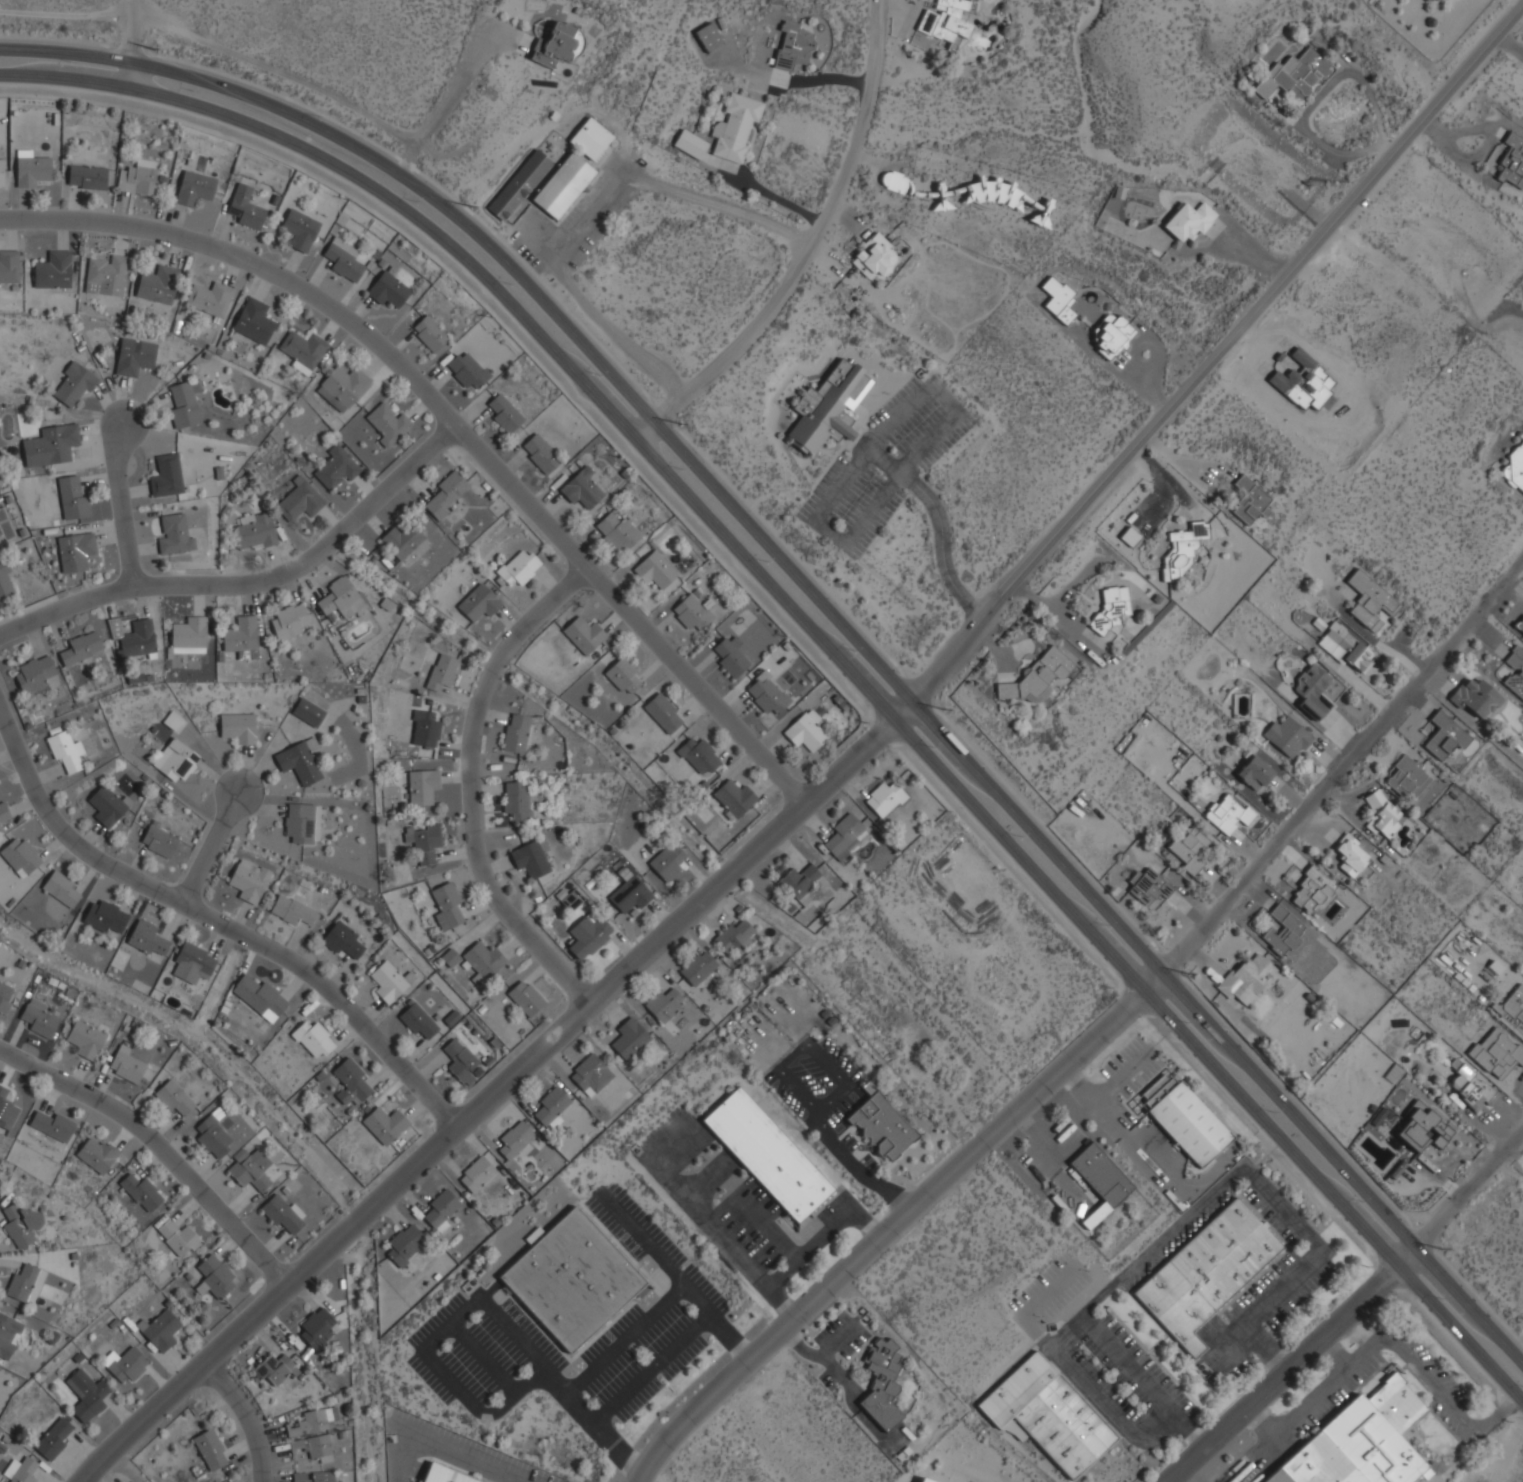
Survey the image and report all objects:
building: (1427, 1)
building: (944, 20)
building: (708, 38)
road: (132, 44)
building: (557, 45)
building: (792, 46)
power tower: (151, 48)
building: (1293, 75)
road: (338, 98)
building: (735, 127)
building: (590, 139)
building: (690, 144)
road: (409, 159)
building: (1512, 162)
building: (31, 169)
building: (1, 173)
building: (87, 177)
building: (137, 178)
building: (895, 182)
building: (519, 185)
building: (563, 186)
building: (194, 188)
power tower: (470, 206)
building: (245, 208)
road: (591, 221)
building: (1188, 221)
building: (300, 230)
road: (807, 248)
building: (874, 256)
building: (343, 259)
building: (9, 266)
building: (53, 270)
building: (107, 276)
building: (158, 283)
building: (388, 290)
building: (210, 298)
building: (1064, 315)
building: (254, 320)
building: (429, 334)
building: (1110, 335)
building: (303, 349)
building: (135, 356)
building: (467, 370)
building: (74, 385)
building: (343, 386)
road: (945, 401)
building: (185, 402)
building: (830, 406)
building: (504, 414)
building: (388, 423)
power tower: (678, 423)
road: (454, 426)
building: (52, 445)
road: (866, 448)
building: (539, 453)
parking lot: (884, 465)
building: (336, 467)
building: (1514, 468)
building: (223, 472)
building: (167, 475)
road: (899, 478)
building: (581, 489)
building: (447, 493)
building: (73, 498)
building: (1249, 500)
building: (299, 501)
road: (121, 504)
road: (939, 524)
building: (254, 531)
building: (617, 532)
road: (827, 532)
building: (176, 533)
building: (401, 541)
building: (1183, 547)
building: (75, 550)
building: (519, 566)
building: (654, 570)
building: (5, 582)
road: (251, 583)
building: (341, 597)
building: (1370, 600)
building: (479, 602)
road: (823, 603)
building: (1112, 609)
building: (692, 613)
building: (289, 621)
building: (1520, 625)
building: (584, 633)
building: (190, 635)
building: (242, 636)
building: (134, 638)
road: (822, 639)
building: (81, 648)
building: (1346, 648)
building: (731, 657)
road: (822, 659)
building: (1516, 670)
building: (442, 671)
building: (36, 674)
building: (623, 674)
building: (1037, 676)
building: (1312, 692)
building: (767, 695)
building: (1476, 698)
power tower: (944, 710)
building: (309, 711)
building: (663, 712)
building: (173, 719)
building: (238, 726)
building: (425, 728)
building: (805, 731)
building: (516, 732)
building: (1445, 735)
building: (1287, 738)
building: (66, 751)
building: (699, 755)
building: (176, 759)
building: (299, 760)
building: (1255, 773)
road: (1333, 775)
road: (836, 777)
building: (1408, 777)
building: (422, 786)
road: (470, 786)
building: (734, 797)
building: (886, 797)
building: (517, 799)
building: (106, 806)
building: (1225, 812)
building: (1383, 812)
building: (4, 813)
building: (302, 823)
building: (846, 835)
building: (424, 840)
building: (159, 841)
road: (210, 848)
building: (1190, 848)
building: (1351, 855)
building: (20, 856)
building: (531, 858)
building: (667, 861)
building: (799, 879)
building: (249, 880)
building: (1149, 887)
building: (63, 889)
building: (630, 891)
building: (1315, 891)
building: (569, 899)
building: (449, 904)
building: (292, 909)
building: (108, 916)
road: (218, 922)
building: (1284, 932)
building: (588, 935)
building: (735, 936)
building: (148, 938)
building: (343, 940)
building: (449, 958)
building: (483, 959)
building: (191, 963)
building: (699, 967)
power tower: (1186, 976)
building: (1248, 980)
building: (391, 981)
building: (5, 995)
building: (259, 997)
building: (526, 997)
building: (664, 1004)
building: (1512, 1009)
building: (39, 1020)
building: (419, 1022)
building: (629, 1037)
building: (85, 1039)
building: (313, 1039)
building: (1497, 1053)
building: (461, 1062)
building: (125, 1065)
building: (591, 1074)
building: (351, 1082)
building: (1472, 1086)
building: (177, 1100)
building: (551, 1105)
building: (7, 1108)
building: (1184, 1118)
building: (384, 1124)
building: (881, 1124)
building: (52, 1125)
building: (1423, 1129)
building: (213, 1137)
building: (515, 1139)
road: (162, 1148)
building: (96, 1153)
building: (767, 1154)
building: (251, 1170)
building: (476, 1174)
building: (1100, 1181)
building: (141, 1192)
road: (1461, 1195)
road: (1277, 1206)
building: (441, 1209)
building: (282, 1214)
building: (20, 1224)
road: (887, 1234)
building: (533, 1236)
building: (177, 1238)
building: (405, 1244)
power tower: (1439, 1249)
building: (1206, 1272)
building: (215, 1277)
building: (572, 1279)
building: (23, 1282)
road: (1084, 1312)
building: (316, 1328)
building: (160, 1329)
building: (9, 1335)
road: (731, 1339)
road: (624, 1340)
road: (1262, 1347)
road: (483, 1359)
building: (125, 1363)
road: (1344, 1363)
road: (1130, 1367)
building: (275, 1369)
road: (1280, 1373)
building: (882, 1383)
road: (1087, 1388)
road: (564, 1393)
building: (86, 1394)
road: (1442, 1397)
building: (1048, 1414)
road: (1297, 1414)
road: (245, 1420)
building: (311, 1422)
road: (1170, 1427)
building: (54, 1439)
building: (1359, 1442)
building: (313, 1447)
building: (210, 1450)
road: (616, 1451)
building: (20, 1471)
building: (443, 1475)
building: (313, 1476)
building: (925, 1480)

